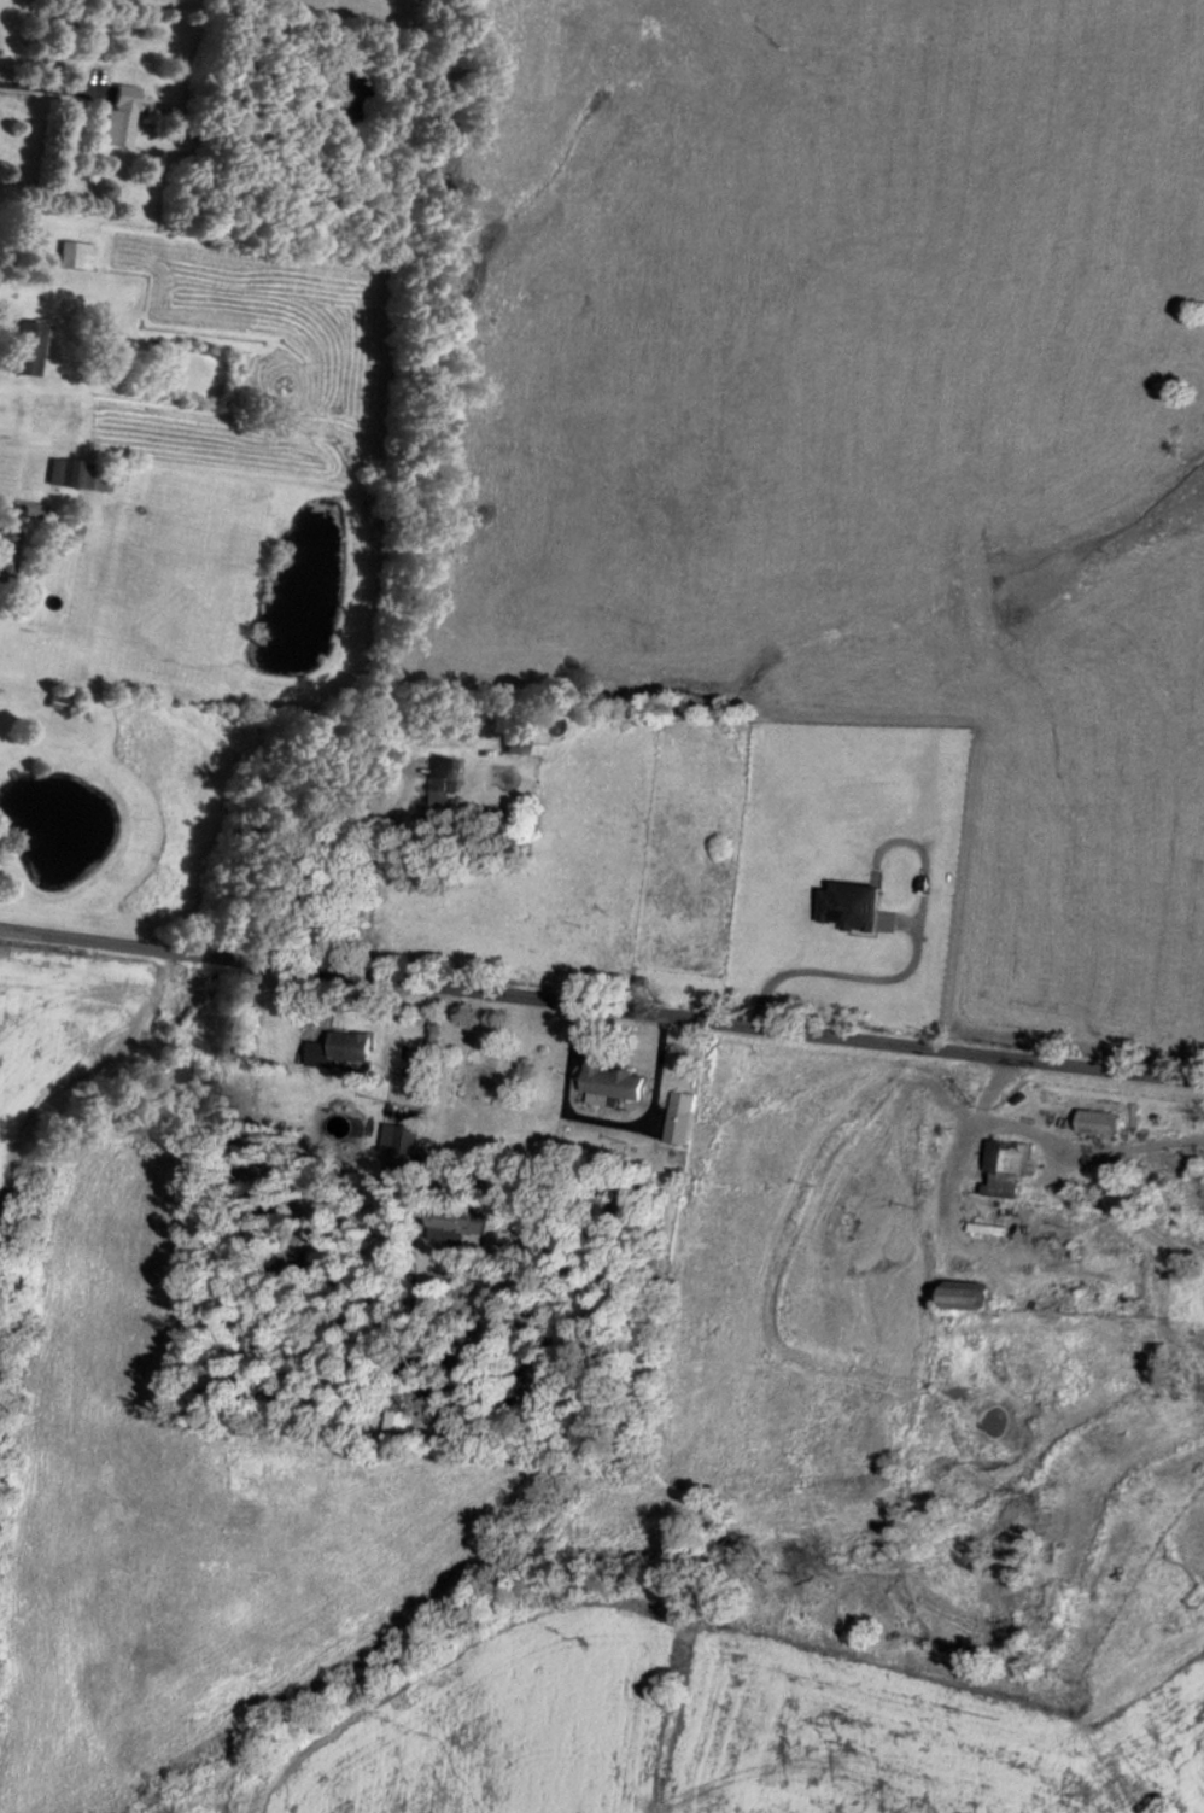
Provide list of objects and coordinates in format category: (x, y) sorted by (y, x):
building: (115, 113)
building: (71, 253)
building: (17, 346)
road: (429, 510)
building: (5, 550)
building: (520, 733)
building: (438, 779)
building: (844, 903)
building: (351, 1045)
road: (601, 1046)
building: (610, 1083)
building: (678, 1116)
building: (1093, 1121)
building: (1003, 1166)
building: (957, 1294)

